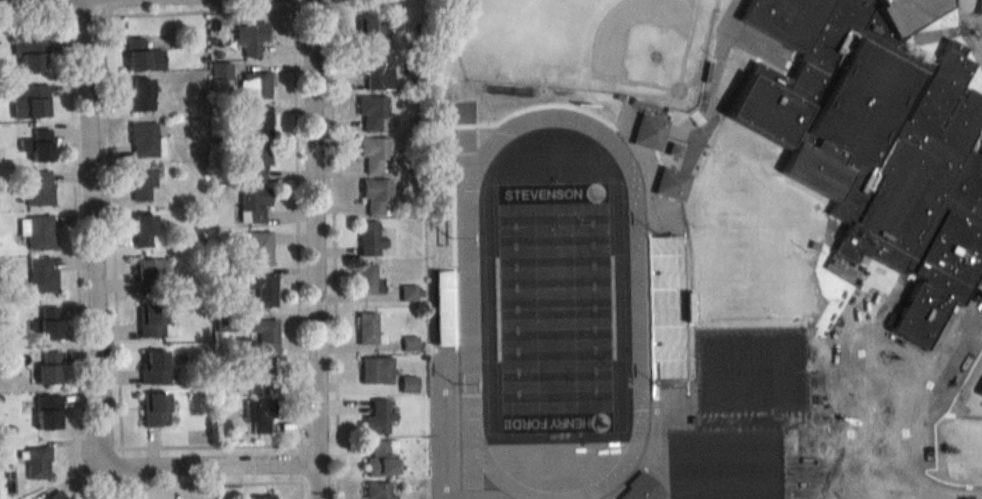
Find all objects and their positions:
road: (77, 1)
road: (347, 4)
road: (103, 8)
road: (314, 8)
road: (68, 9)
road: (198, 12)
road: (85, 17)
road: (34, 19)
road: (972, 23)
building: (368, 33)
building: (248, 38)
road: (961, 38)
park: (589, 48)
building: (28, 55)
building: (140, 56)
building: (373, 72)
building: (252, 85)
building: (138, 94)
building: (33, 100)
building: (370, 111)
building: (257, 121)
building: (648, 130)
building: (141, 140)
building: (876, 142)
building: (36, 144)
building: (671, 149)
building: (371, 154)
building: (253, 162)
building: (669, 183)
building: (139, 184)
building: (36, 188)
building: (375, 196)
building: (251, 205)
road: (298, 225)
building: (141, 231)
building: (38, 232)
building: (368, 239)
building: (258, 248)
road: (313, 249)
road: (335, 253)
building: (40, 275)
building: (149, 275)
building: (367, 280)
building: (261, 290)
park: (556, 307)
building: (442, 308)
building: (661, 313)
track: (469, 317)
road: (117, 320)
building: (148, 321)
building: (45, 322)
building: (366, 329)
building: (263, 335)
road: (93, 336)
road: (81, 359)
building: (46, 367)
building: (152, 367)
building: (374, 369)
park: (783, 371)
park: (716, 372)
park: (750, 372)
road: (829, 372)
building: (257, 375)
building: (980, 388)
road: (869, 390)
building: (979, 400)
building: (152, 409)
building: (46, 412)
building: (258, 417)
building: (376, 418)
road: (858, 436)
building: (379, 460)
road: (301, 461)
building: (36, 463)
park: (758, 470)
park: (691, 471)
park: (725, 471)
building: (638, 487)
road: (962, 488)
road: (301, 489)
building: (376, 491)
building: (53, 496)
building: (257, 497)

